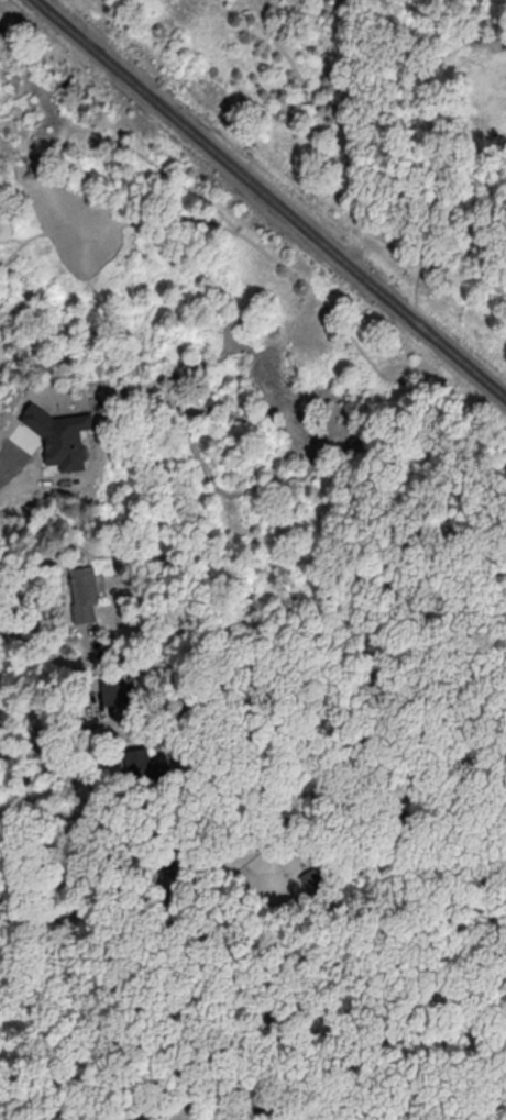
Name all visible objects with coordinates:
road: (334, 131)
railway: (268, 200)
road: (419, 276)
road: (425, 350)
building: (59, 434)
road: (18, 467)
park: (442, 552)
building: (82, 591)
road: (2, 624)
road: (90, 650)
building: (114, 690)
road: (51, 736)
building: (136, 759)
road: (441, 850)
road: (69, 910)
road: (496, 1045)

